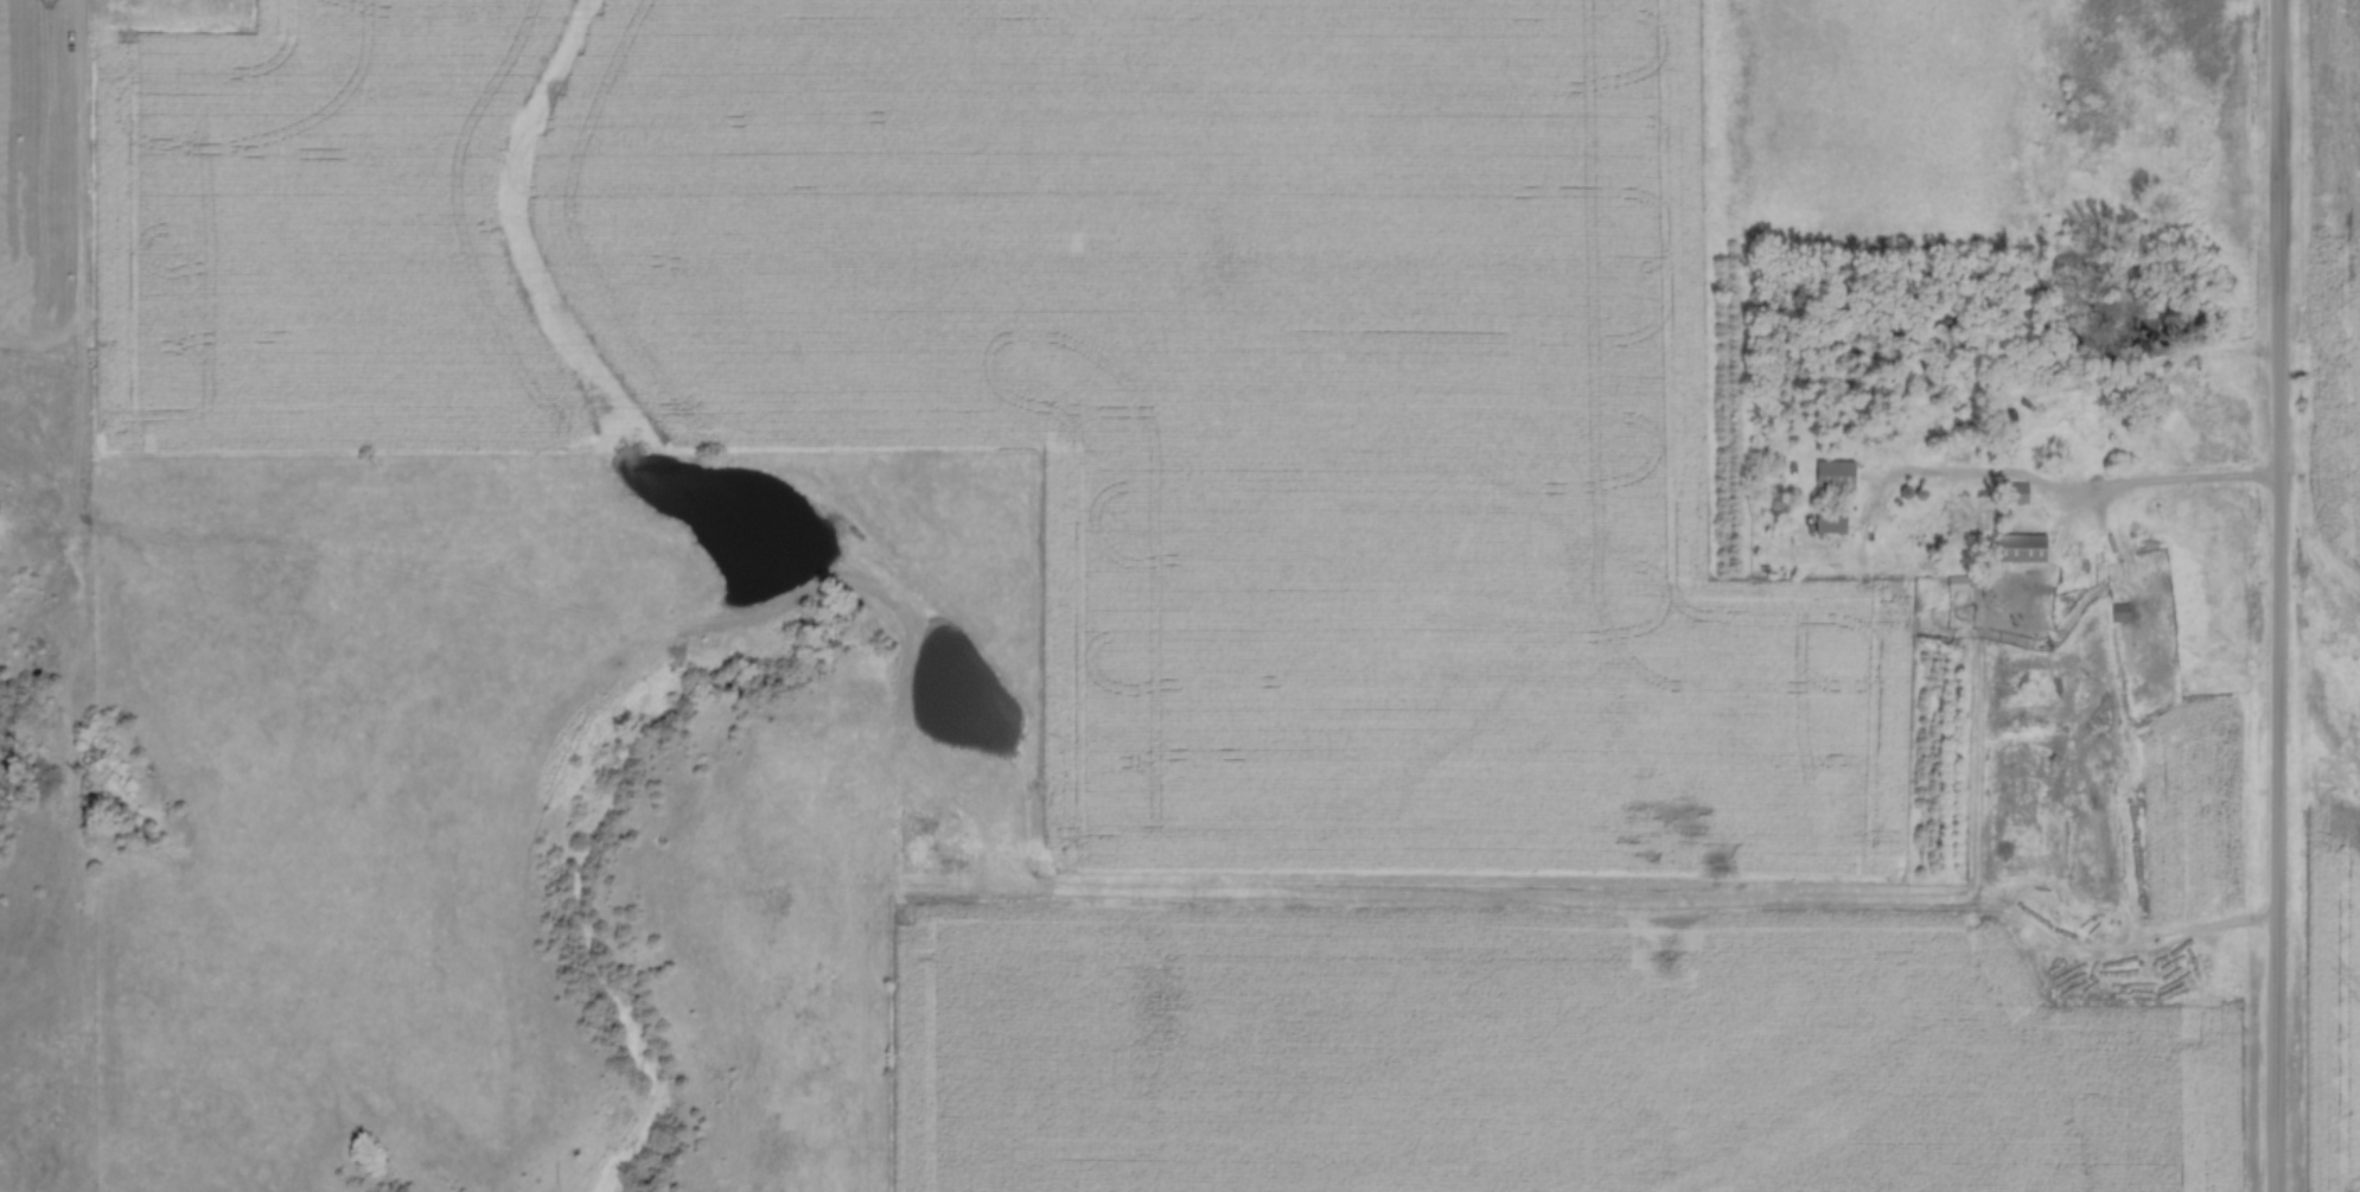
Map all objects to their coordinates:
building: (1880, 439)
building: (2061, 447)
building: (1838, 476)
building: (2017, 495)
road: (2080, 505)
building: (1836, 521)
building: (2023, 550)
building: (1960, 584)
road: (2279, 595)
building: (2120, 613)
building: (2021, 652)

